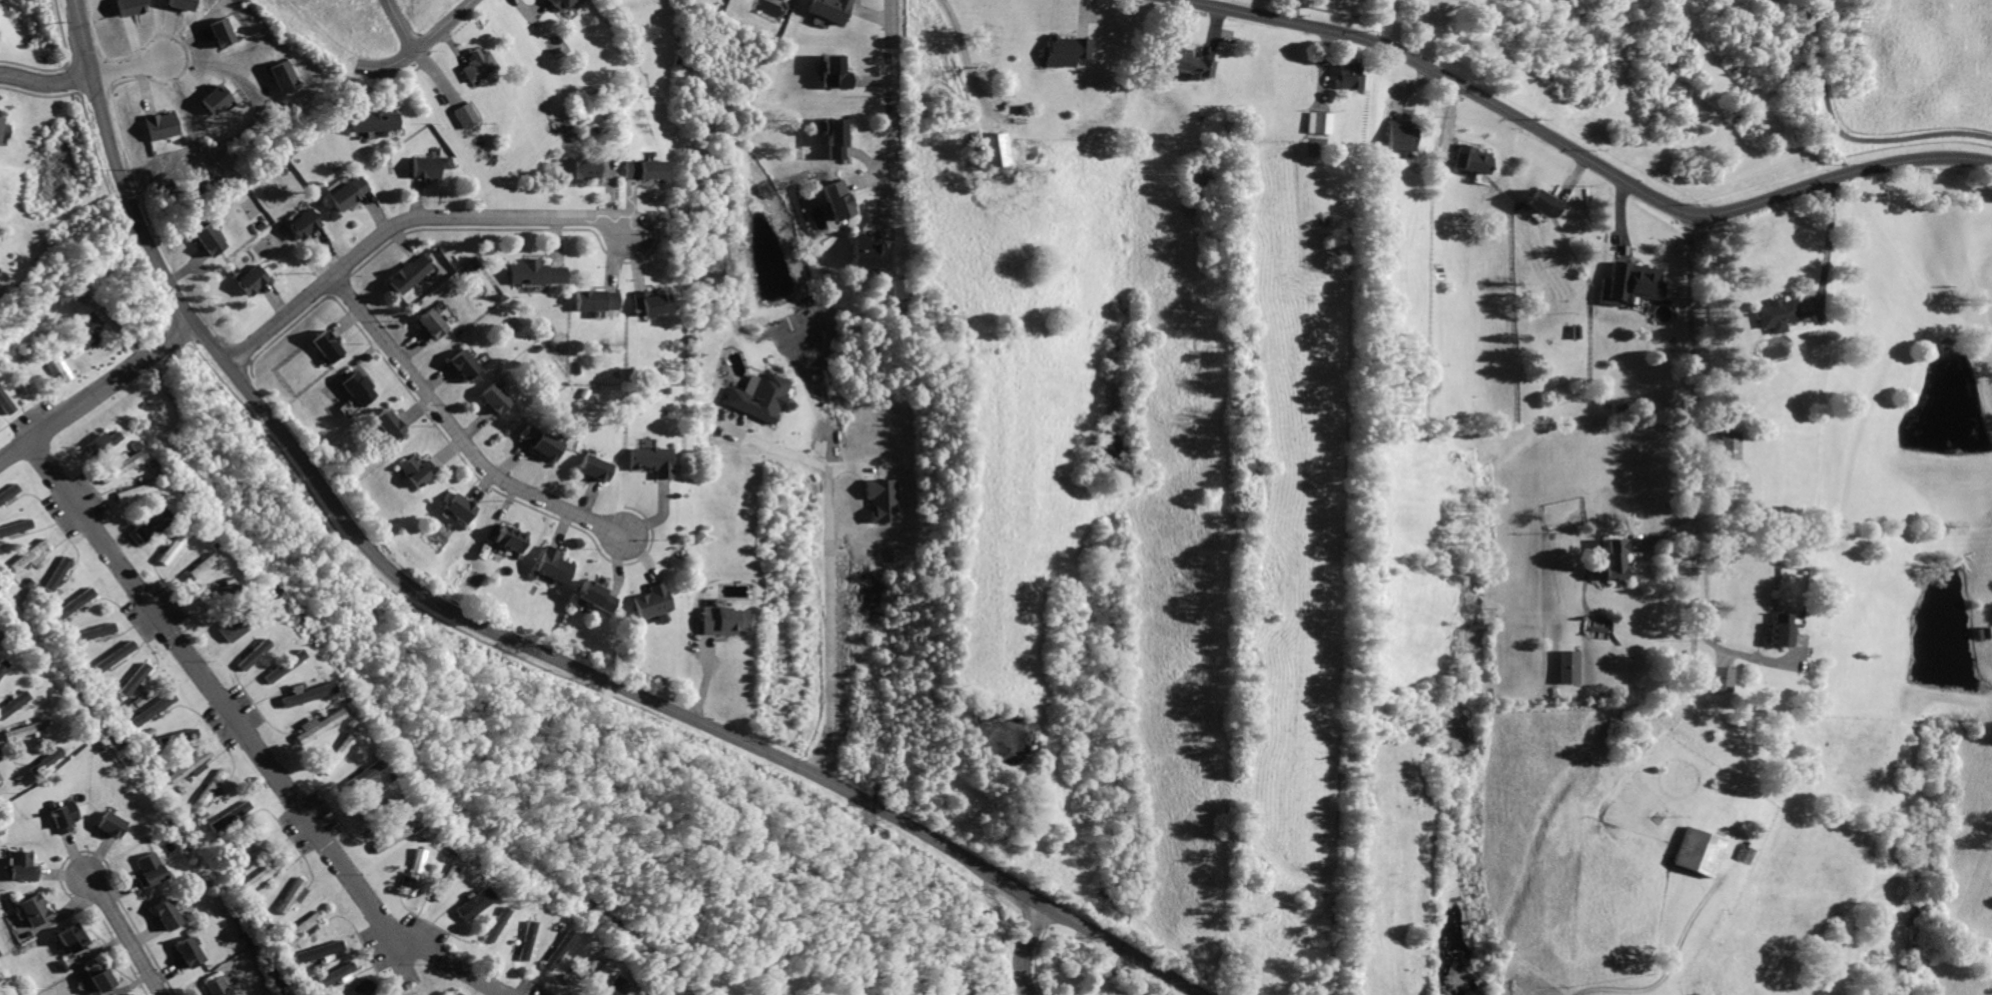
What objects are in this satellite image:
building: (185, 3)
building: (559, 5)
building: (132, 6)
building: (834, 9)
road: (1293, 11)
road: (1395, 24)
road: (401, 25)
building: (225, 32)
road: (419, 46)
building: (1068, 50)
building: (1189, 65)
building: (477, 67)
road: (969, 67)
road: (132, 69)
building: (837, 73)
building: (286, 74)
building: (1349, 76)
road: (45, 84)
road: (895, 87)
park: (1759, 91)
building: (220, 98)
building: (465, 115)
building: (372, 120)
building: (1320, 123)
building: (165, 124)
building: (2, 131)
building: (1401, 136)
road: (1844, 136)
building: (837, 138)
building: (992, 149)
road: (1580, 155)
building: (1473, 160)
building: (427, 167)
building: (639, 169)
building: (575, 170)
building: (350, 193)
building: (839, 200)
building: (1545, 202)
road: (406, 222)
building: (304, 224)
building: (211, 240)
road: (1827, 240)
building: (867, 252)
building: (536, 272)
building: (411, 274)
building: (252, 280)
building: (1631, 283)
building: (903, 288)
building: (597, 300)
building: (646, 303)
building: (1774, 315)
building: (434, 324)
building: (84, 330)
building: (330, 347)
building: (51, 358)
building: (467, 366)
building: (23, 375)
building: (359, 388)
road: (99, 392)
road: (1695, 394)
building: (757, 397)
building: (499, 400)
building: (4, 403)
building: (389, 425)
road: (460, 432)
building: (105, 443)
building: (1728, 443)
building: (545, 444)
road: (770, 446)
building: (652, 461)
building: (119, 467)
building: (597, 468)
building: (421, 471)
building: (136, 490)
building: (9, 492)
building: (885, 498)
building: (461, 508)
building: (145, 524)
building: (16, 526)
building: (512, 539)
road: (1644, 540)
building: (172, 543)
road: (1654, 552)
building: (29, 554)
building: (1618, 559)
building: (197, 566)
building: (554, 566)
building: (58, 572)
building: (216, 592)
crop: (1380, 596)
building: (597, 598)
building: (76, 602)
building: (654, 602)
building: (723, 620)
road: (831, 621)
building: (223, 624)
building: (1778, 631)
building: (94, 632)
building: (1985, 632)
building: (0, 634)
road: (501, 634)
building: (0, 638)
road: (1740, 653)
building: (250, 654)
building: (111, 658)
building: (1, 664)
building: (279, 665)
building: (1571, 667)
road: (707, 677)
building: (135, 679)
building: (1723, 679)
building: (294, 698)
building: (13, 703)
building: (152, 710)
building: (314, 726)
building: (27, 729)
building: (177, 737)
road: (248, 738)
building: (331, 753)
building: (49, 760)
building: (189, 765)
building: (362, 770)
building: (210, 789)
building: (374, 807)
building: (230, 816)
building: (66, 817)
building: (114, 826)
building: (393, 836)
building: (243, 847)
building: (1702, 851)
building: (24, 868)
building: (153, 871)
building: (414, 871)
building: (262, 875)
building: (441, 883)
building: (290, 895)
building: (472, 903)
building: (36, 911)
building: (168, 915)
building: (496, 924)
building: (302, 927)
road: (125, 935)
building: (73, 937)
building: (525, 940)
road: (1025, 947)
building: (319, 950)
building: (554, 950)
building: (190, 952)
building: (584, 968)
building: (337, 974)
building: (100, 979)
building: (611, 982)
road: (1656, 982)
building: (220, 987)
building: (364, 987)

